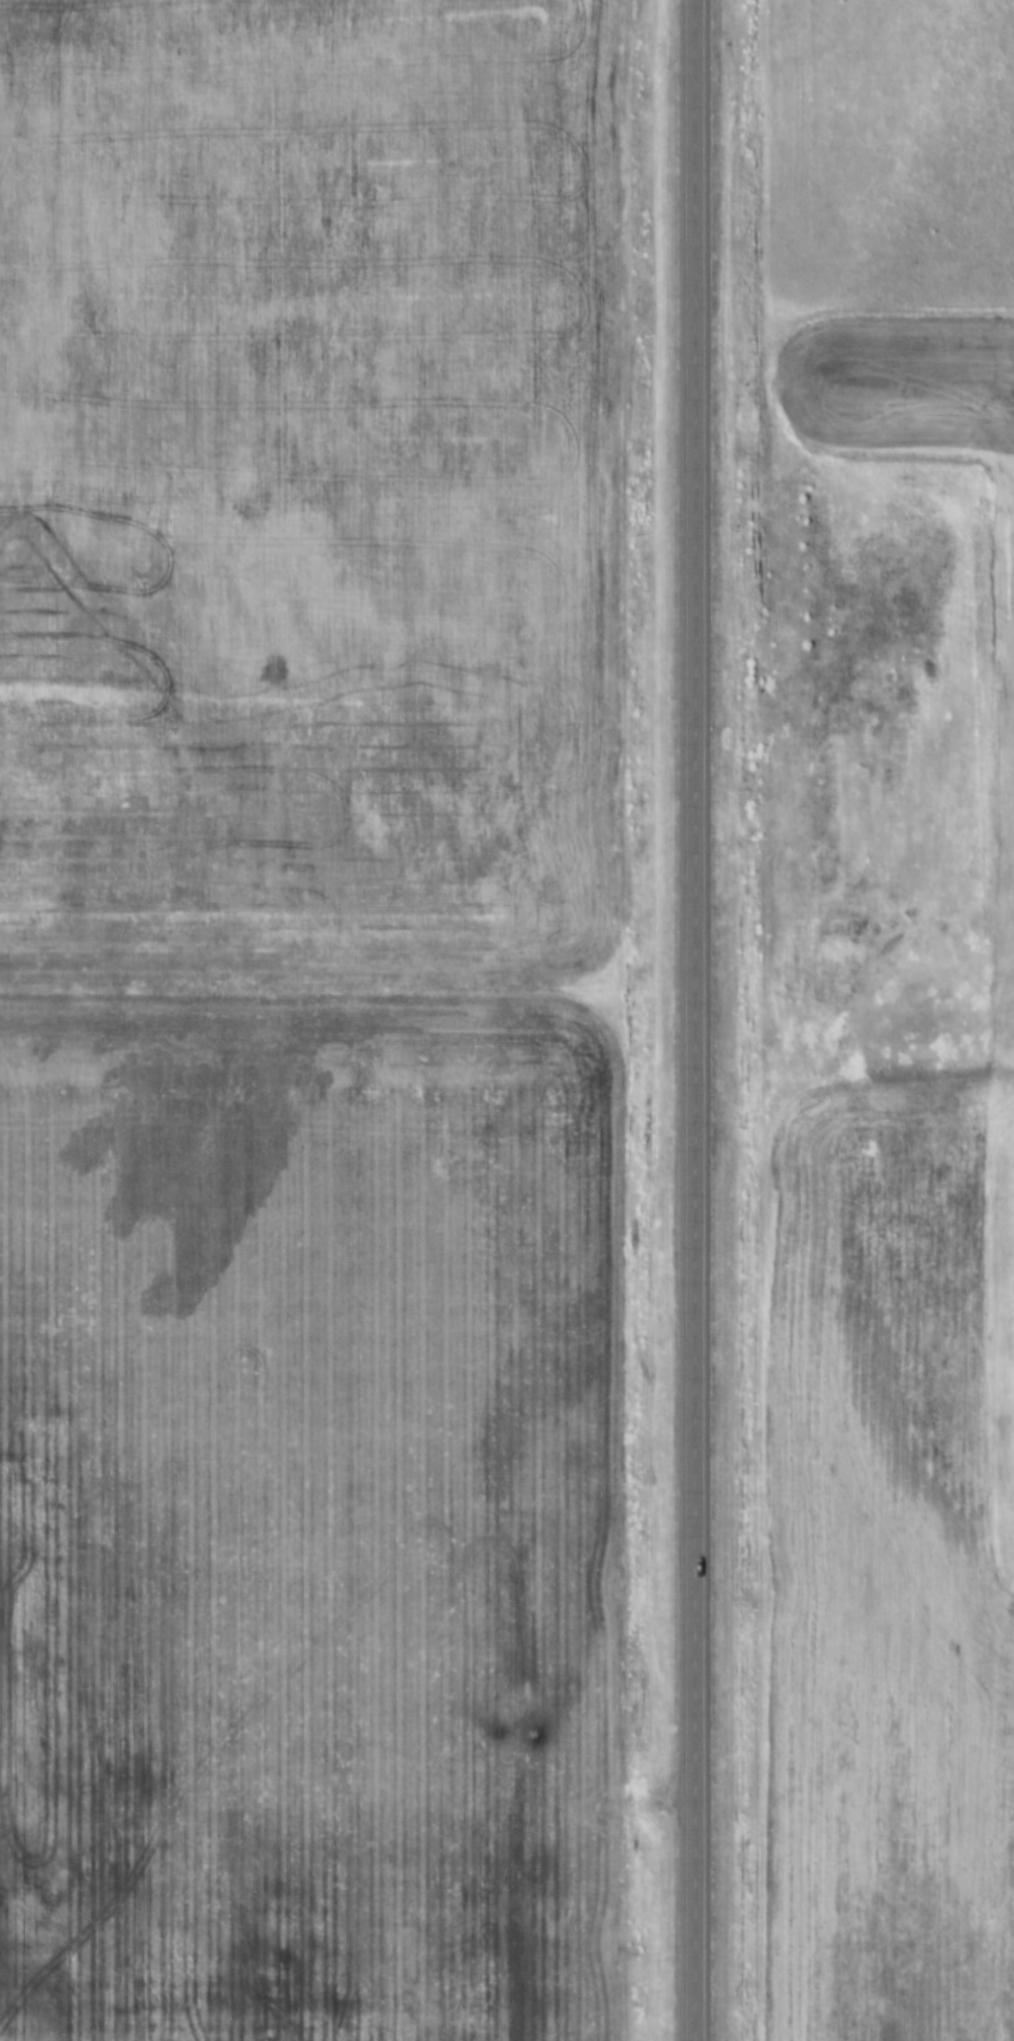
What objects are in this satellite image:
road: (693, 1020)

